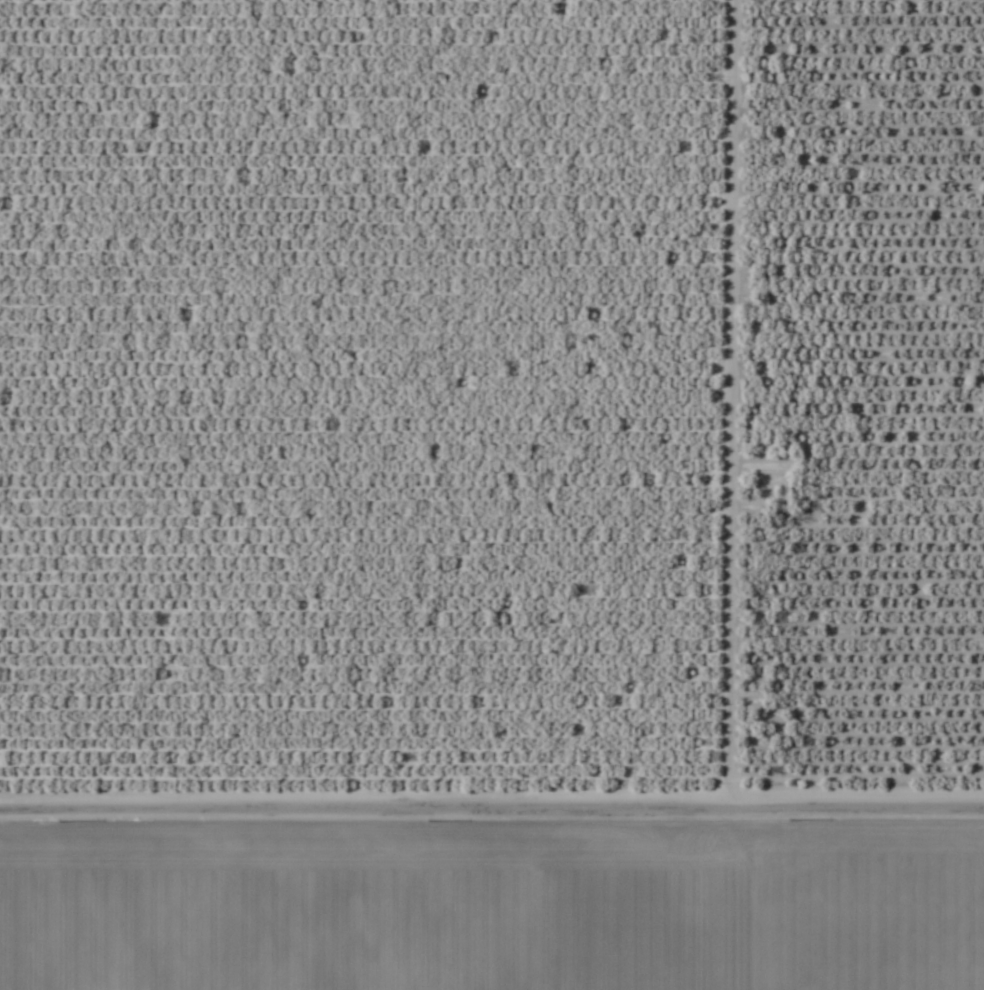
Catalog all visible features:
road: (492, 804)

